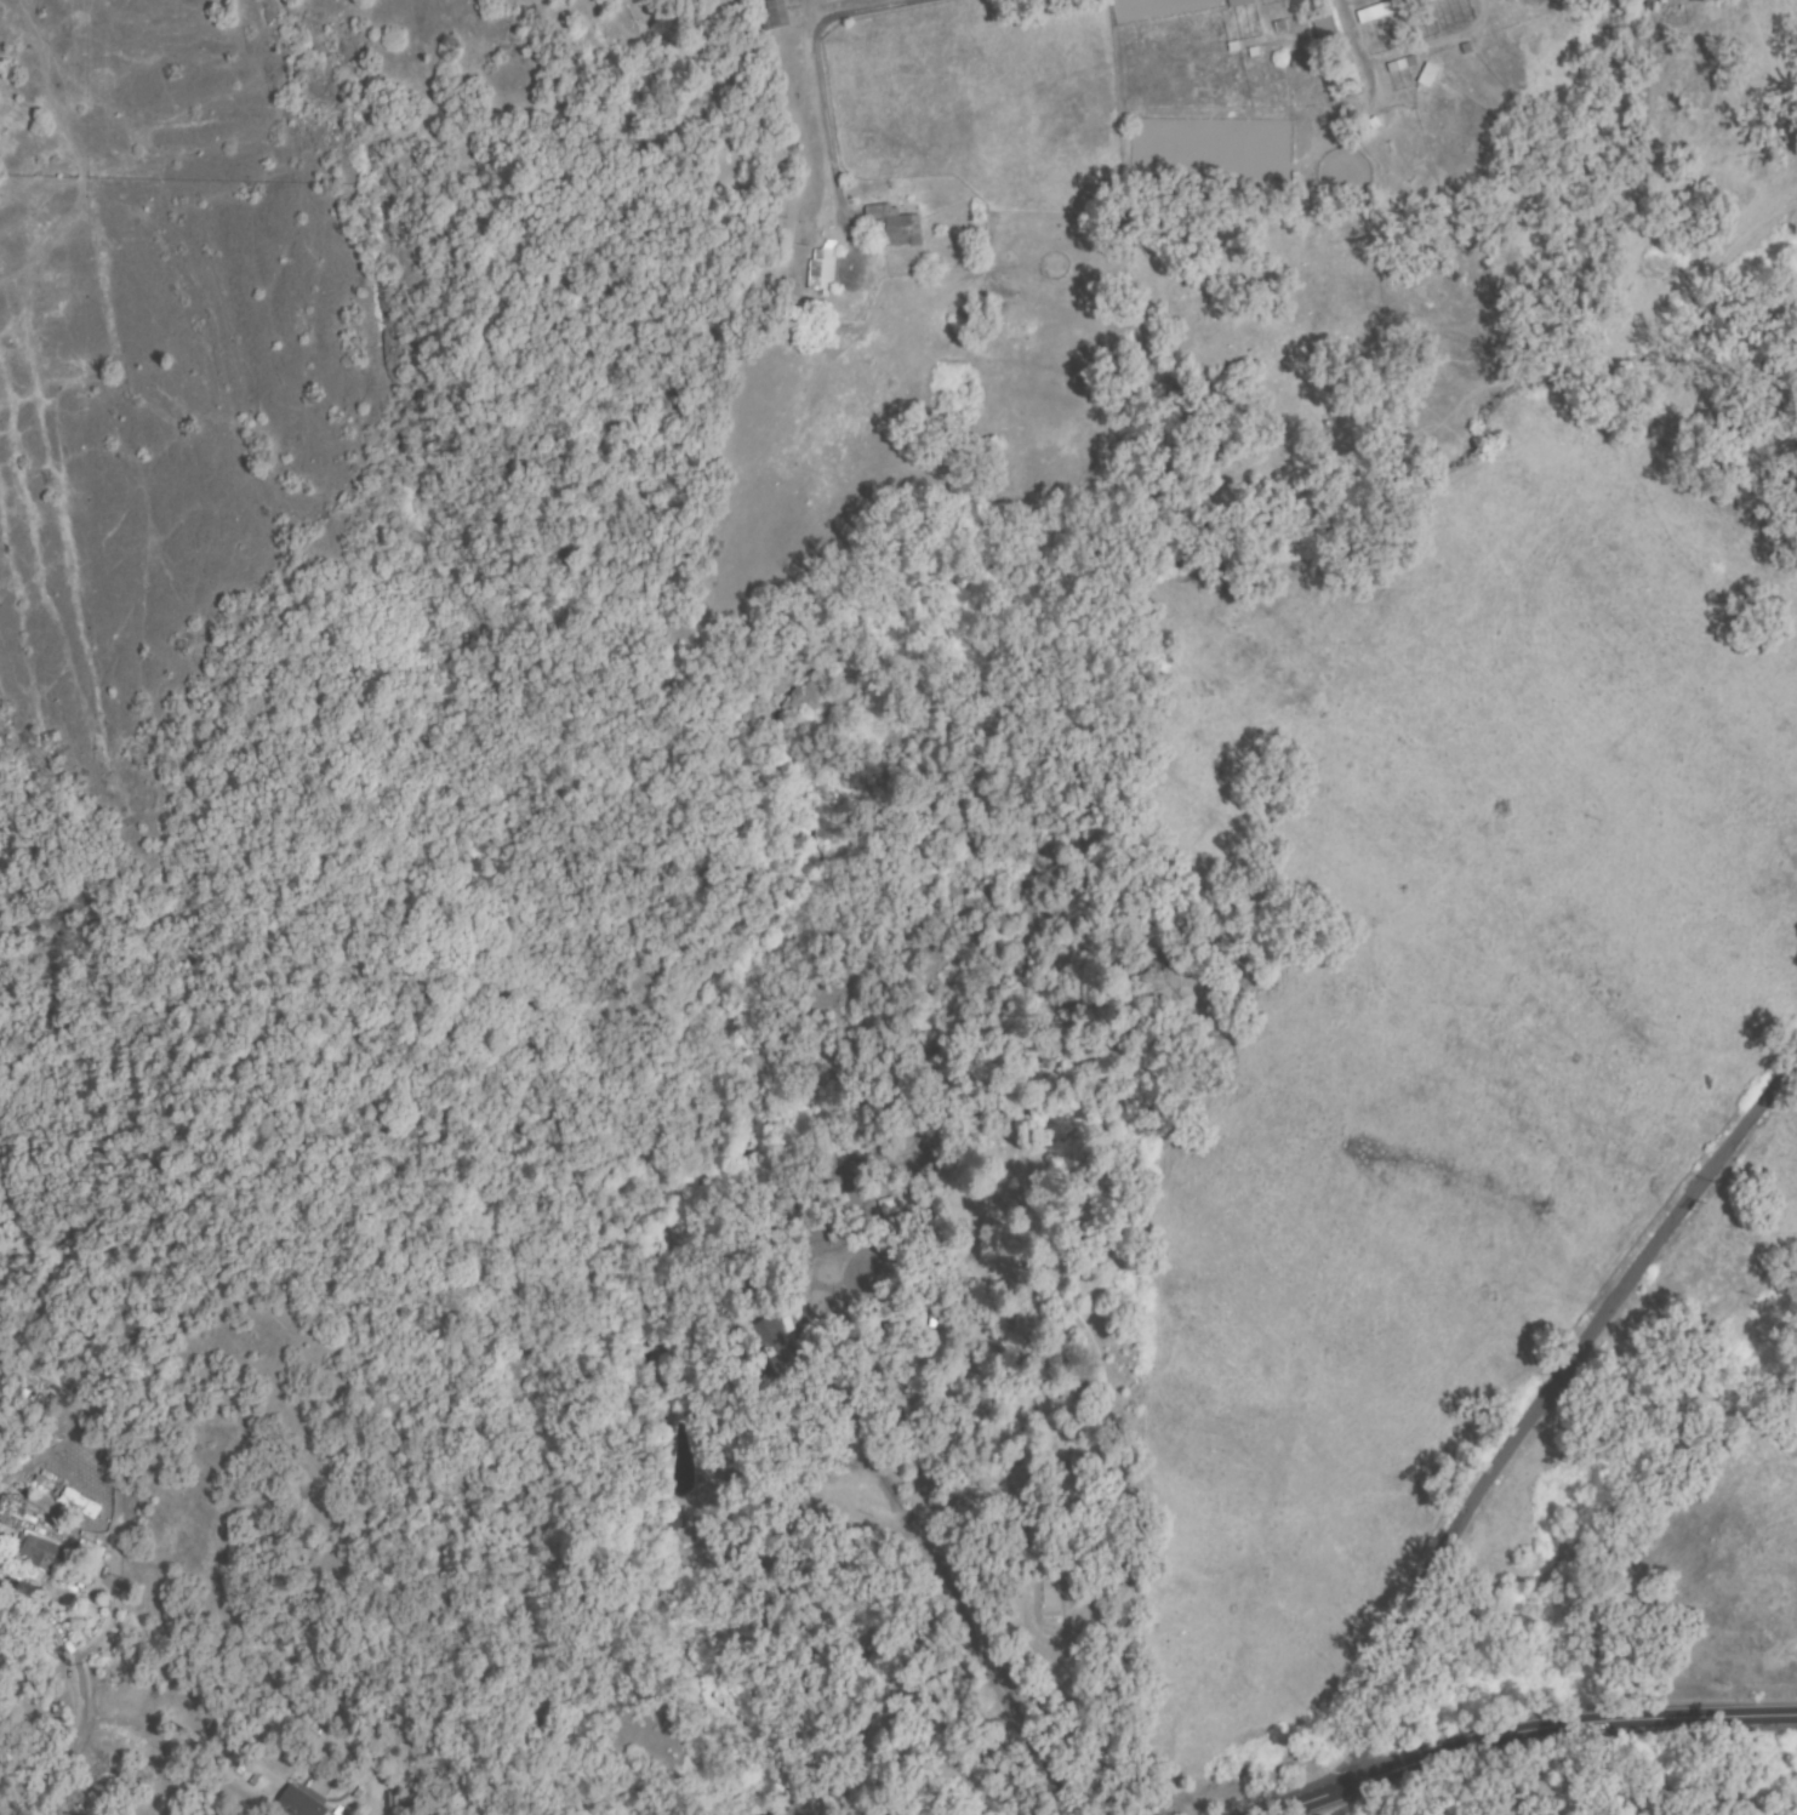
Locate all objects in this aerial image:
building: (1236, 1)
building: (1387, 8)
building: (771, 15)
building: (1335, 47)
road: (814, 61)
building: (1399, 64)
building: (1428, 75)
building: (892, 224)
building: (814, 268)
building: (768, 1325)
road: (1531, 1415)
building: (114, 1451)
building: (75, 1503)
building: (7, 1514)
building: (38, 1551)
road: (971, 1649)
road: (78, 1694)
road: (1529, 1737)
building: (865, 1780)
building: (298, 1804)
building: (801, 1805)

